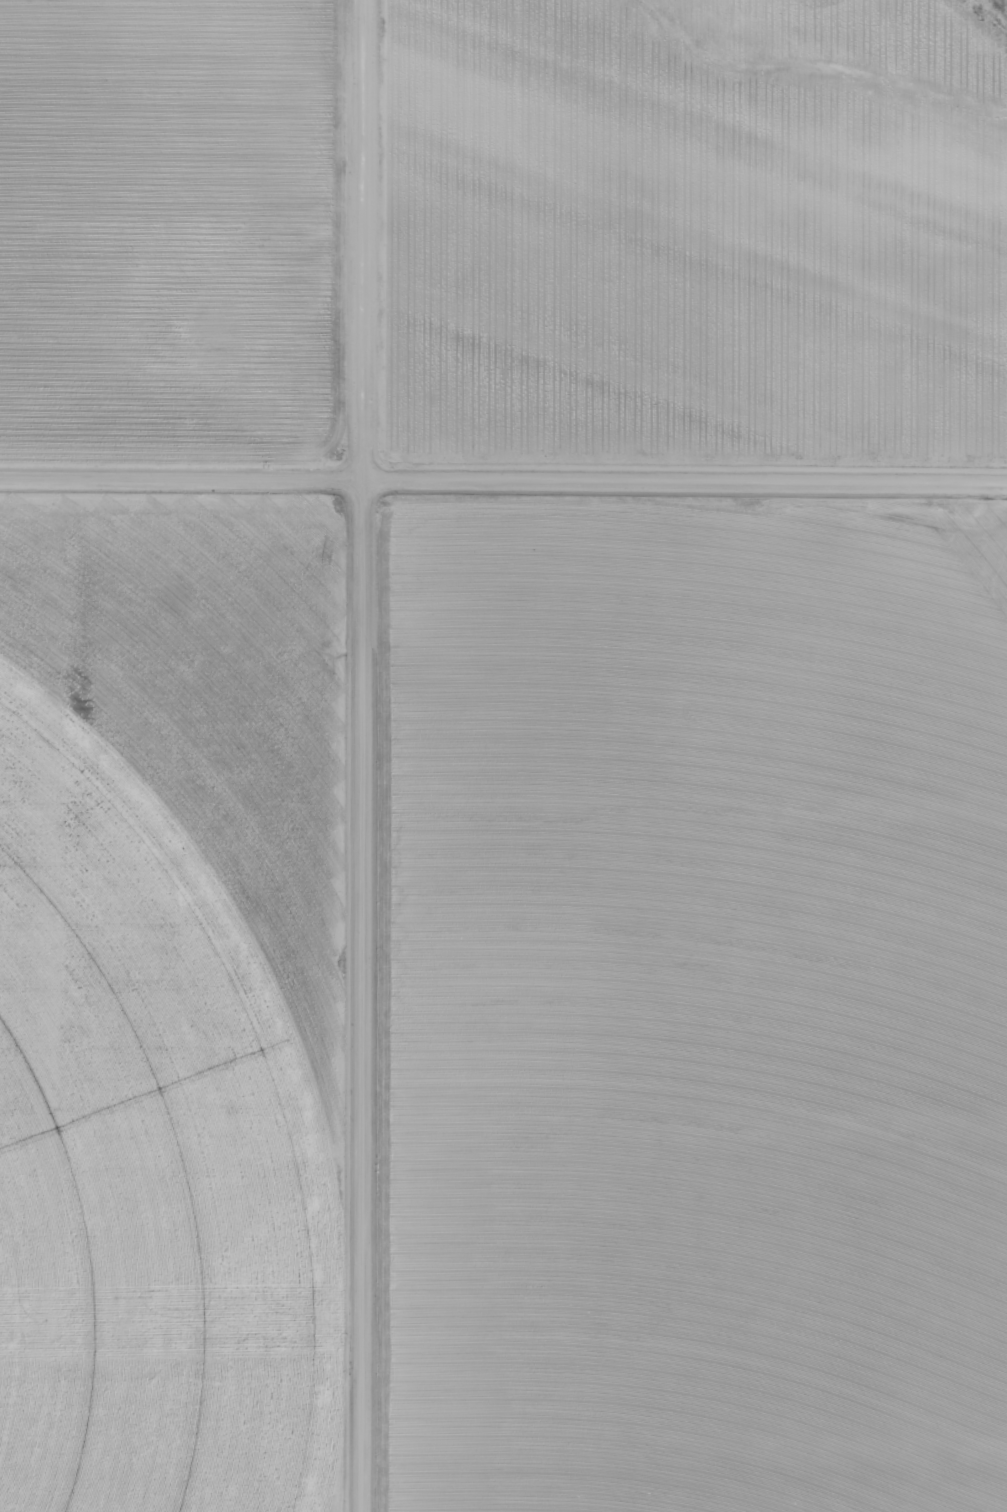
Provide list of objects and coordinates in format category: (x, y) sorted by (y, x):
road: (503, 479)
road: (345, 755)

